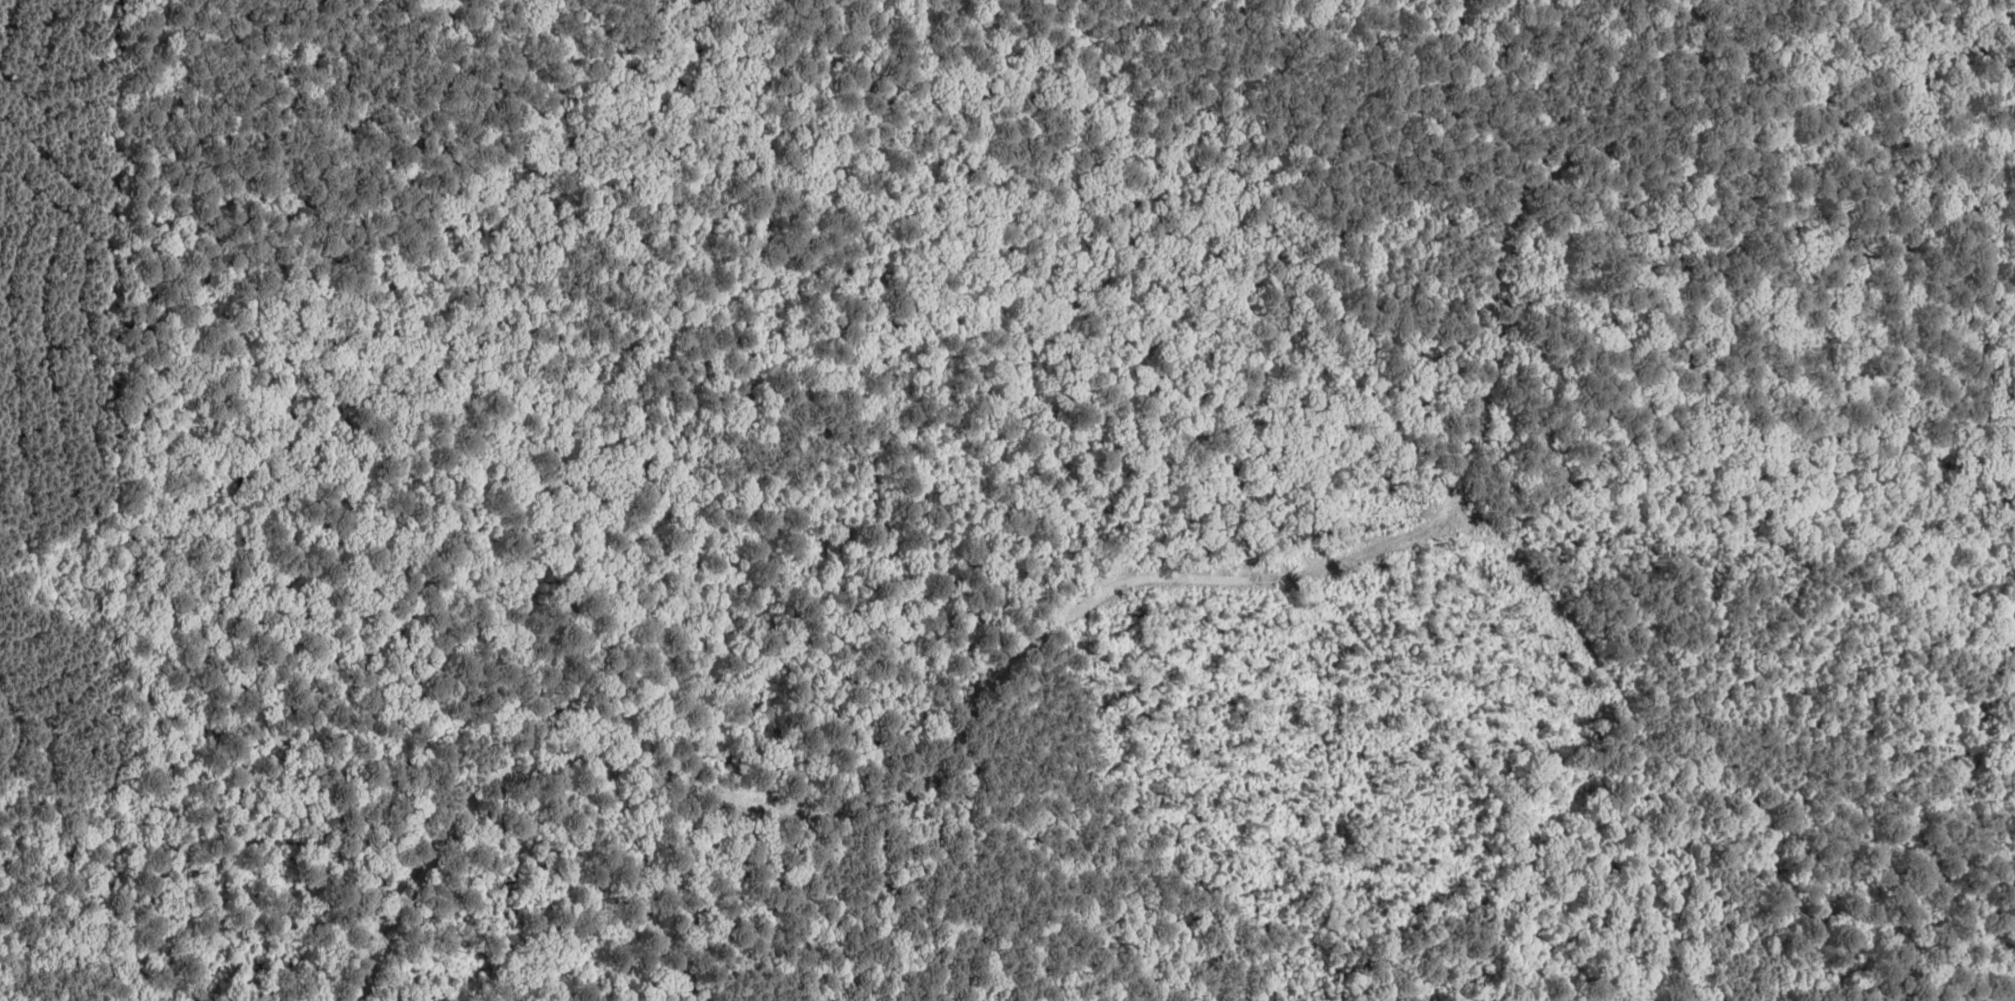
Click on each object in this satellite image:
road: (1790, 872)

